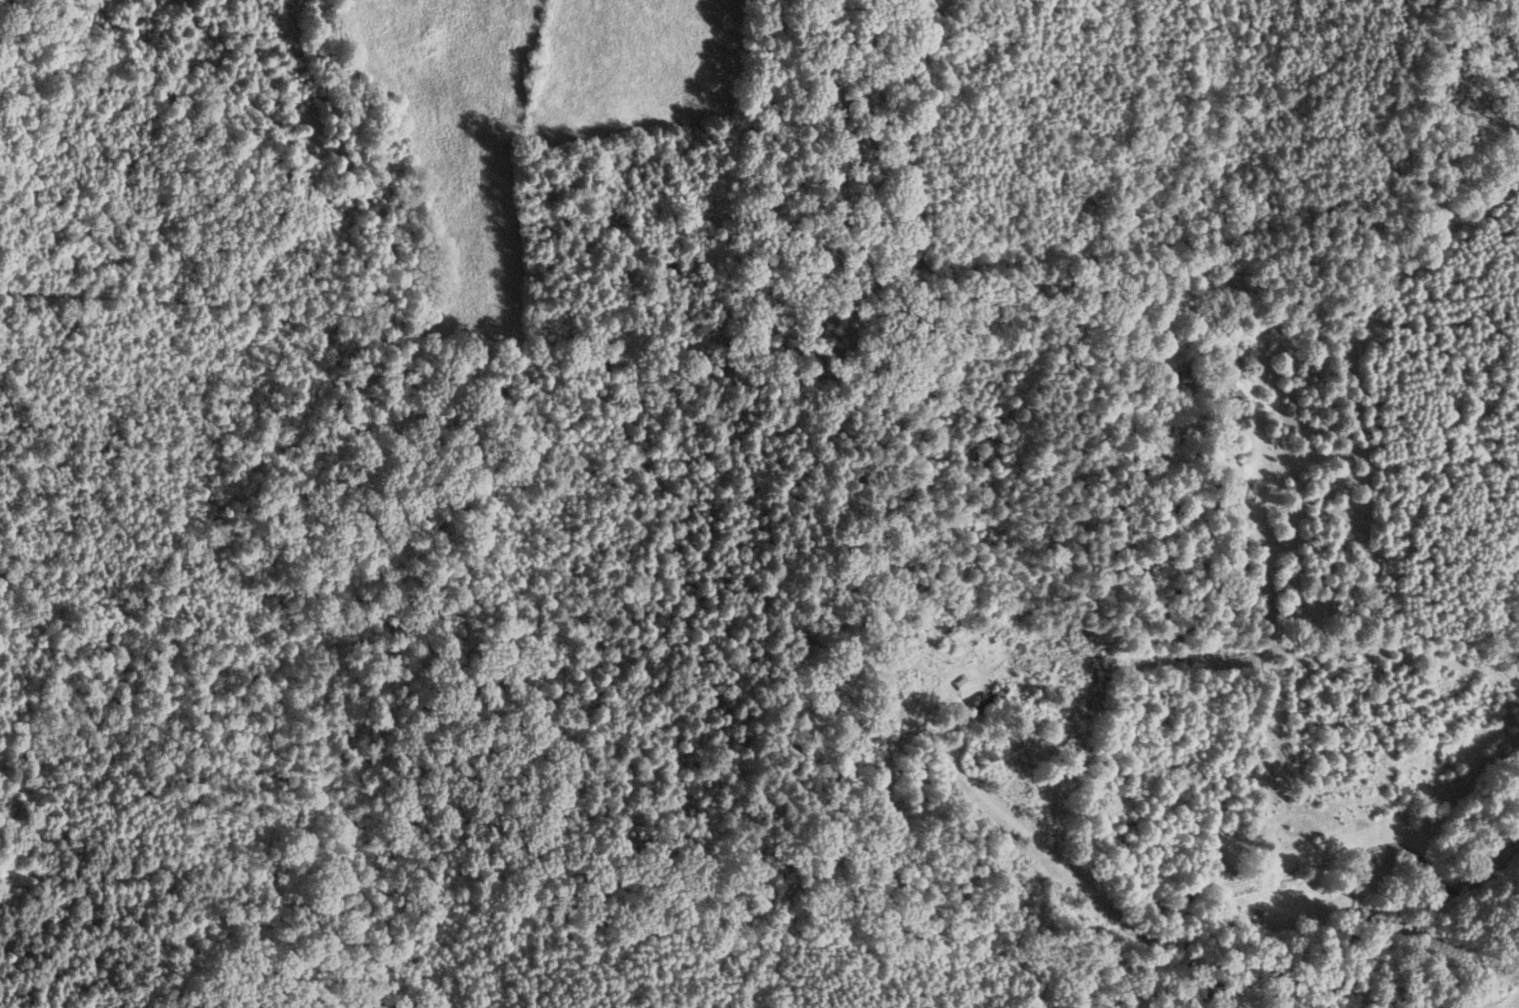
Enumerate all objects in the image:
building: (1185, 374)
road: (1215, 818)

